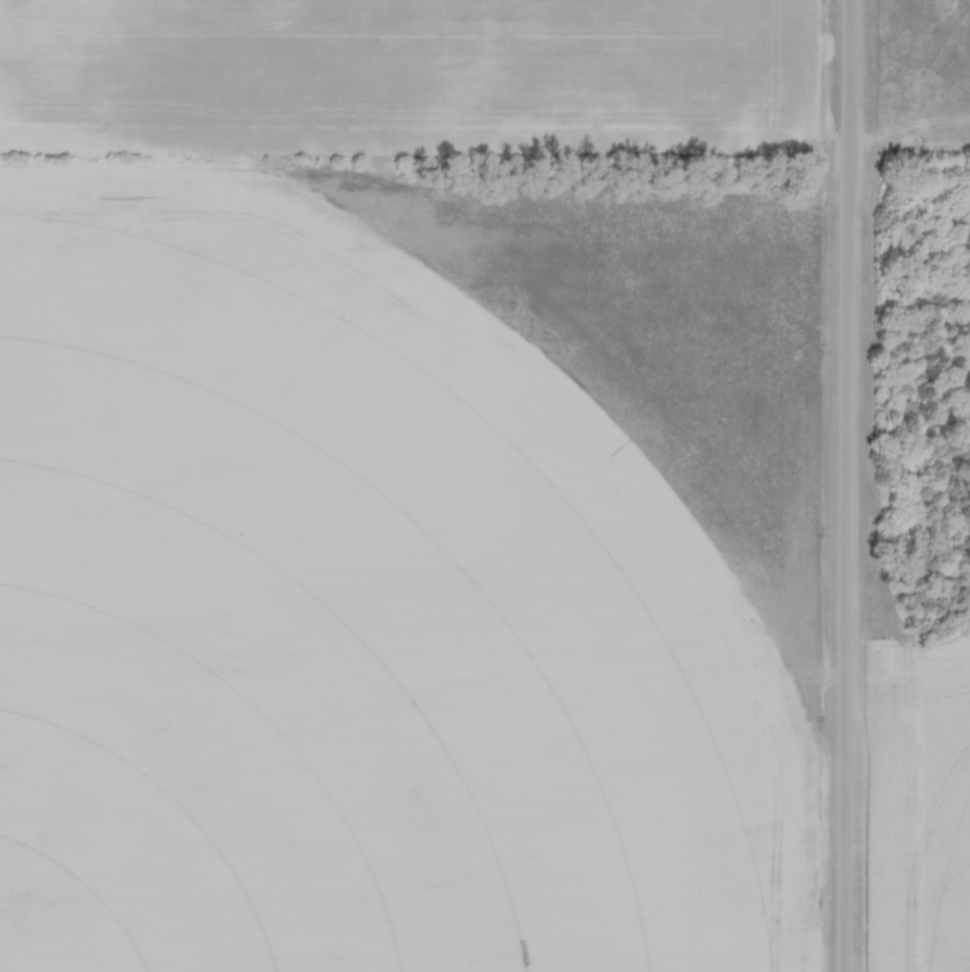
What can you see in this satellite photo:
road: (846, 486)

